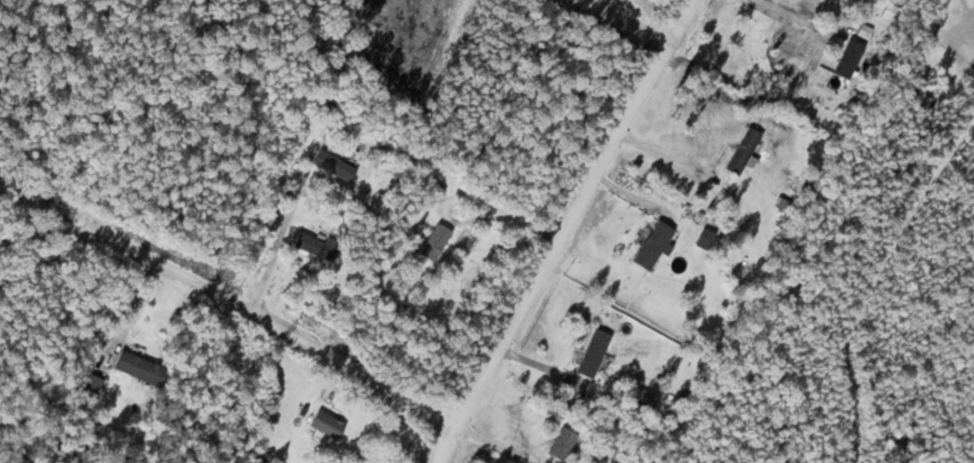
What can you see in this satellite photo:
road: (628, 23)
building: (741, 150)
building: (332, 164)
road: (568, 231)
building: (434, 242)
building: (652, 244)
building: (314, 246)
road: (272, 330)
building: (593, 354)
building: (643, 399)
building: (325, 423)
building: (560, 444)

